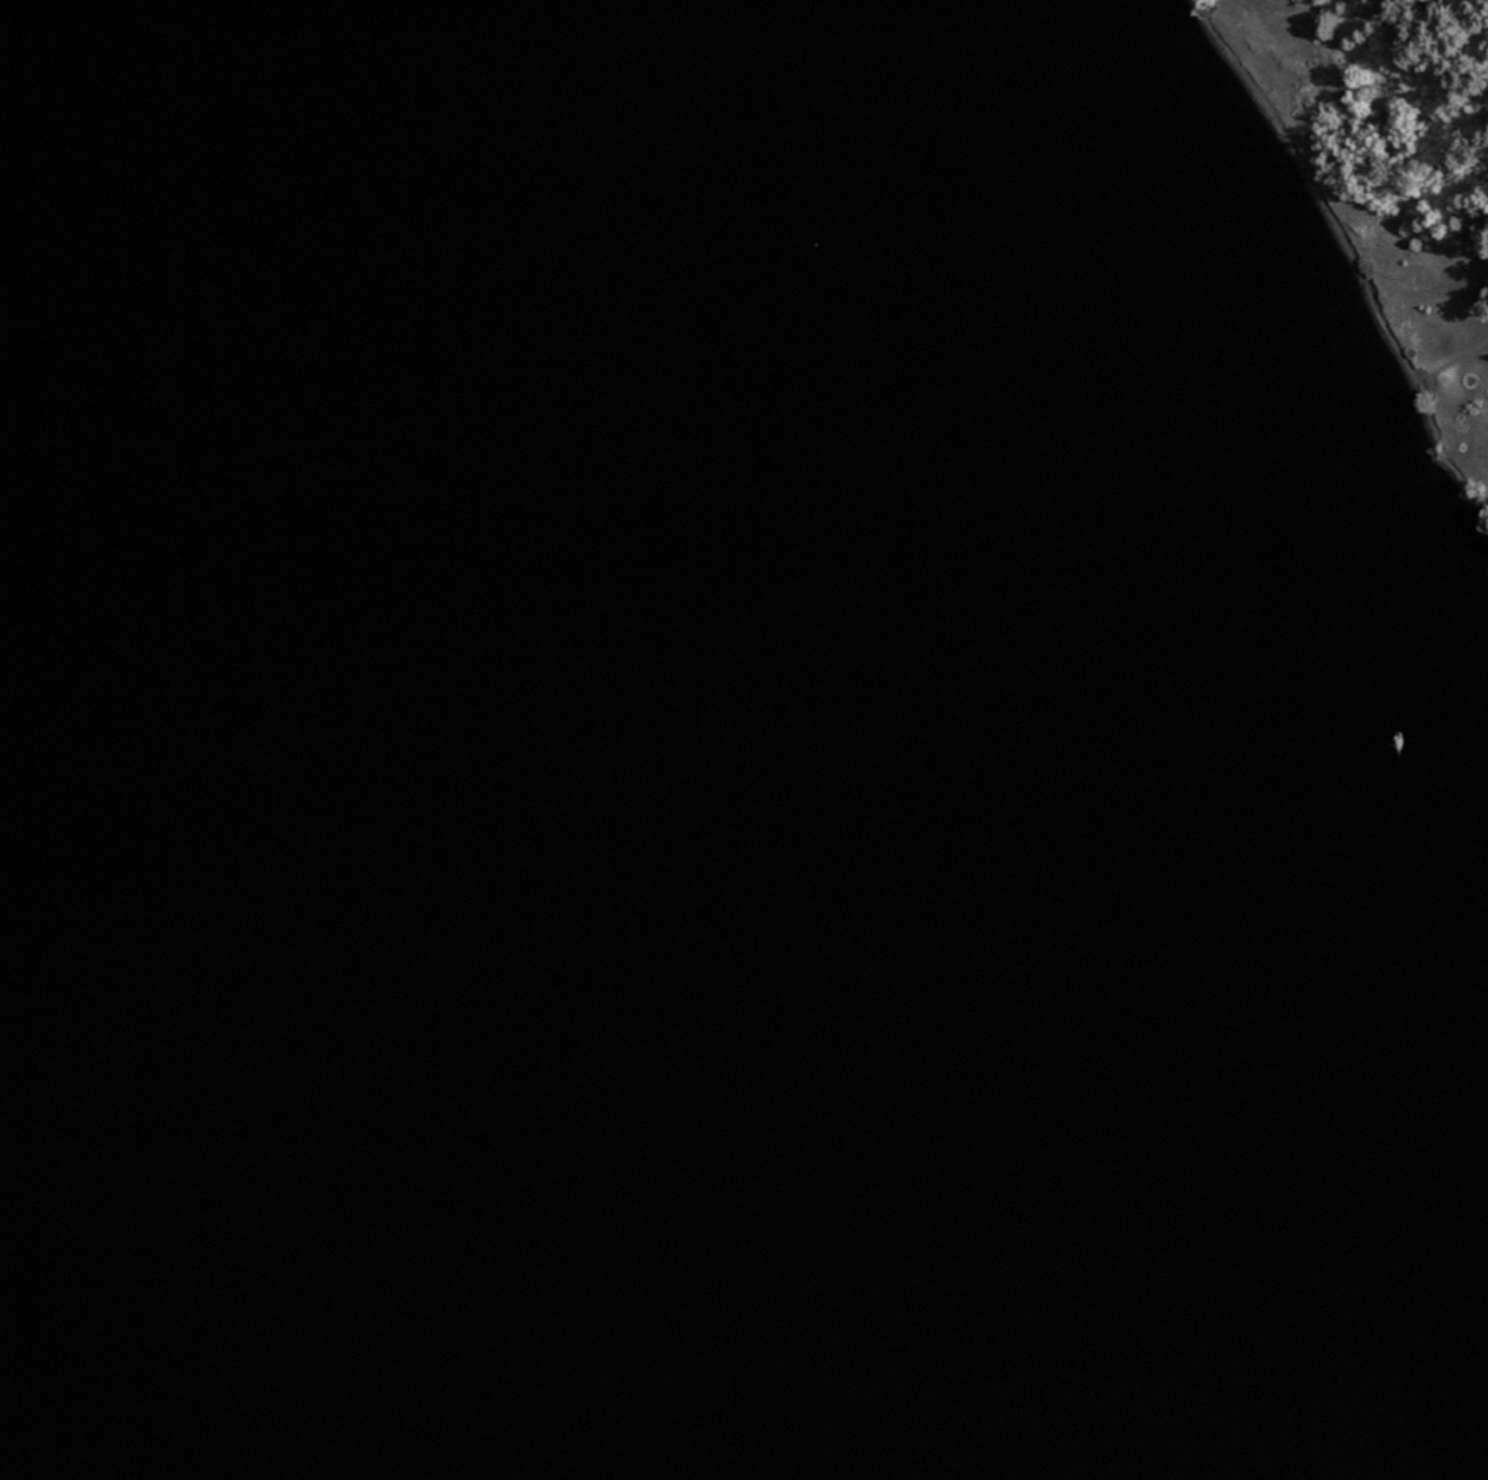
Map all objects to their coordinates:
road: (1451, 50)

